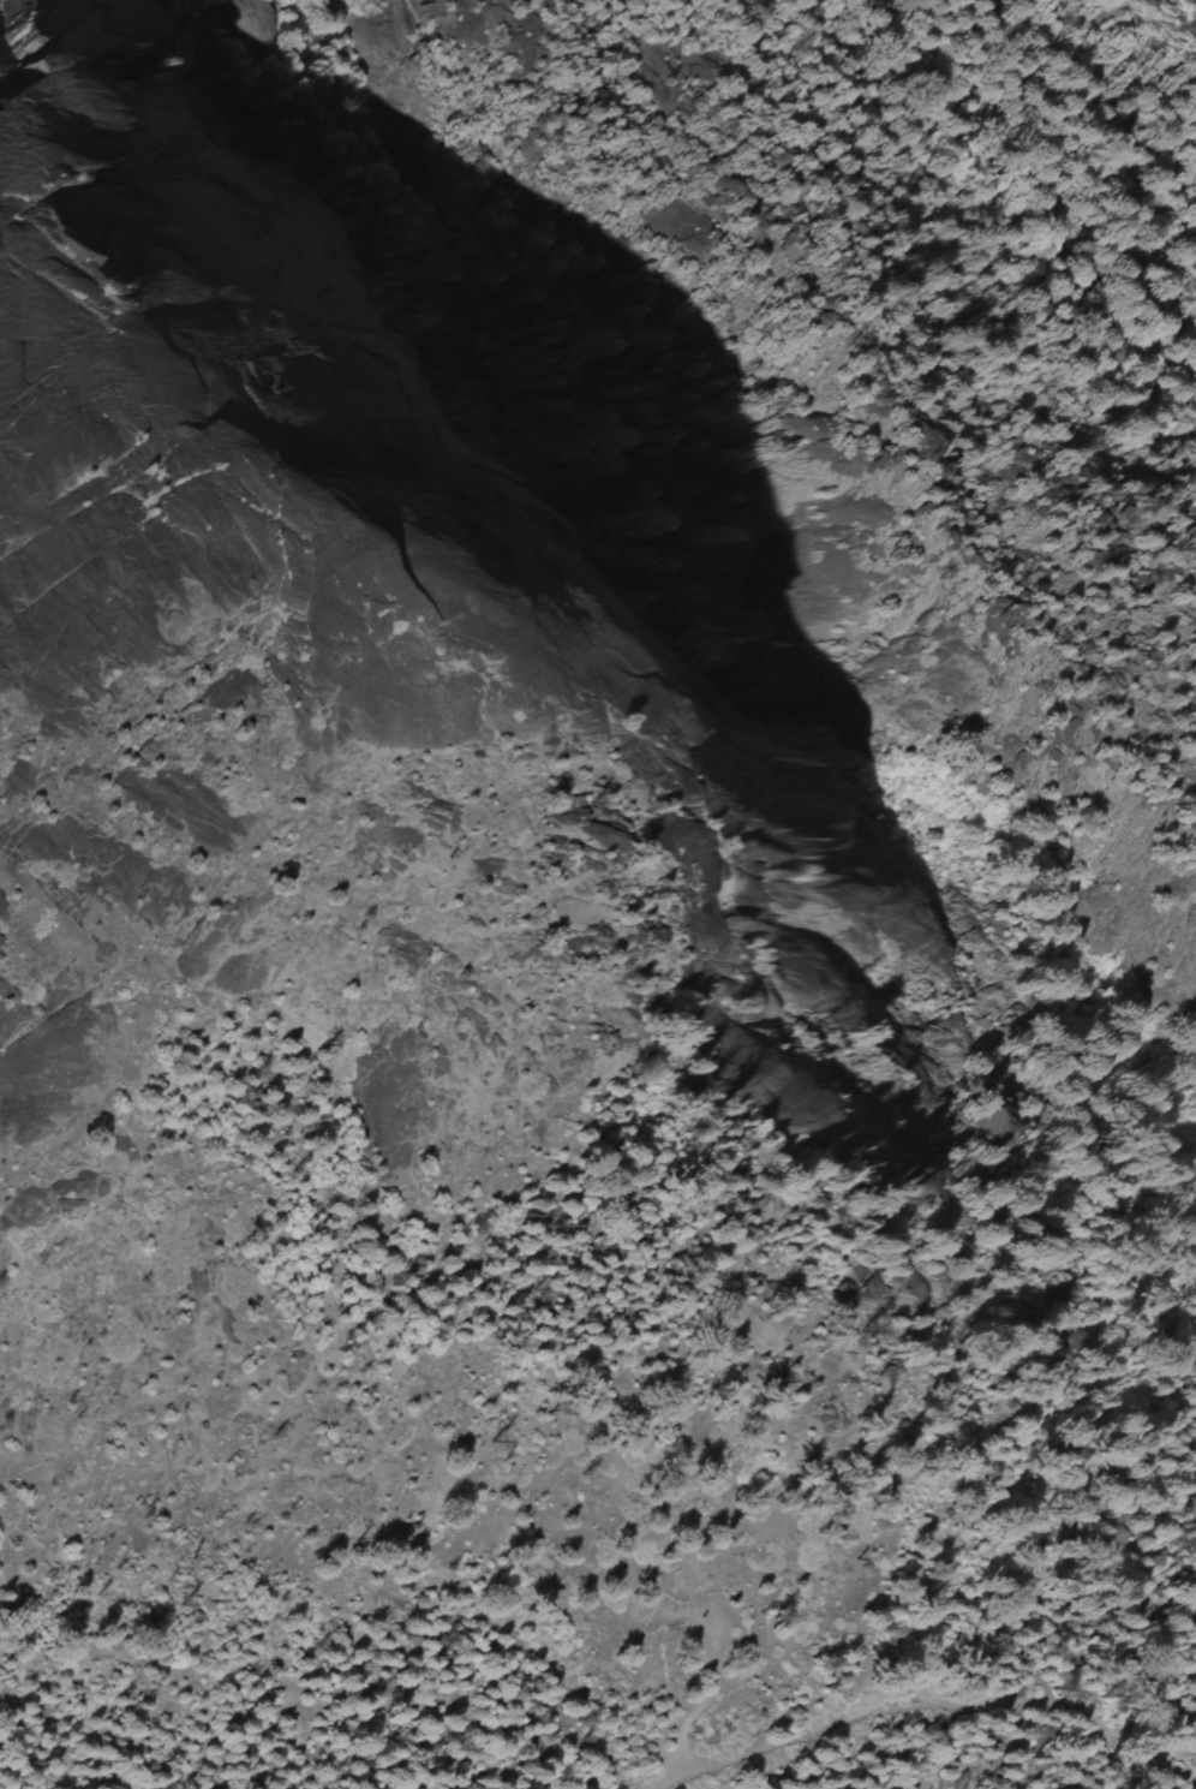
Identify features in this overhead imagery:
road: (717, 1674)
road: (931, 1709)

